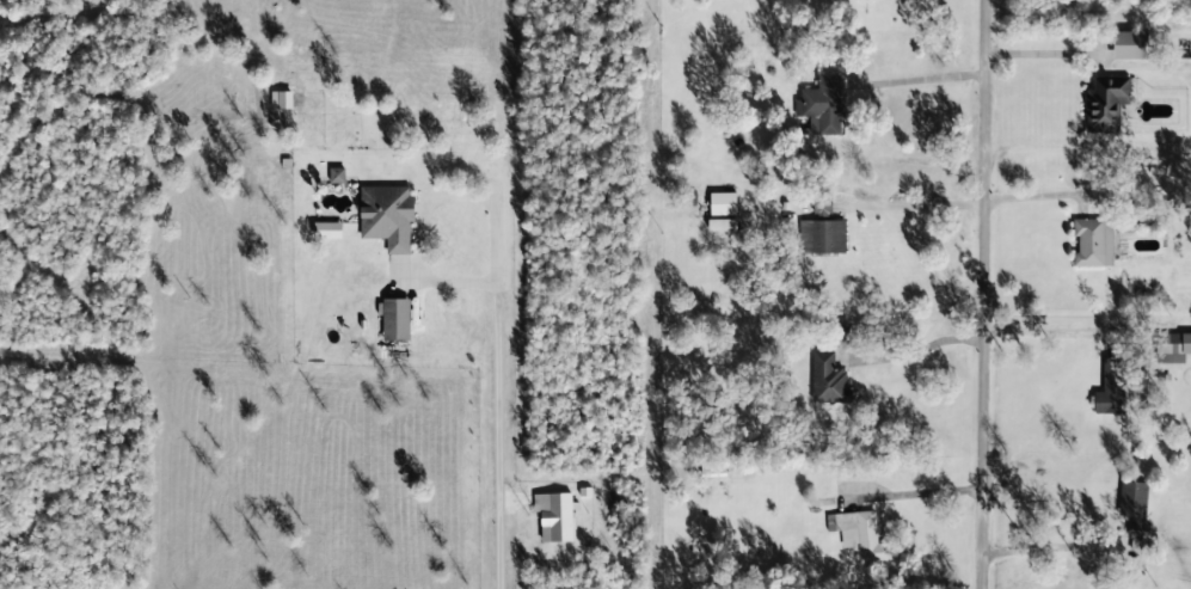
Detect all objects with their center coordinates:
building: (1130, 43)
building: (281, 98)
building: (1105, 100)
building: (822, 105)
building: (337, 173)
building: (722, 202)
building: (387, 214)
building: (722, 223)
building: (323, 228)
building: (828, 228)
building: (1093, 240)
road: (993, 294)
building: (395, 318)
building: (829, 378)
building: (1111, 386)
building: (1132, 509)
building: (559, 515)
building: (859, 534)

